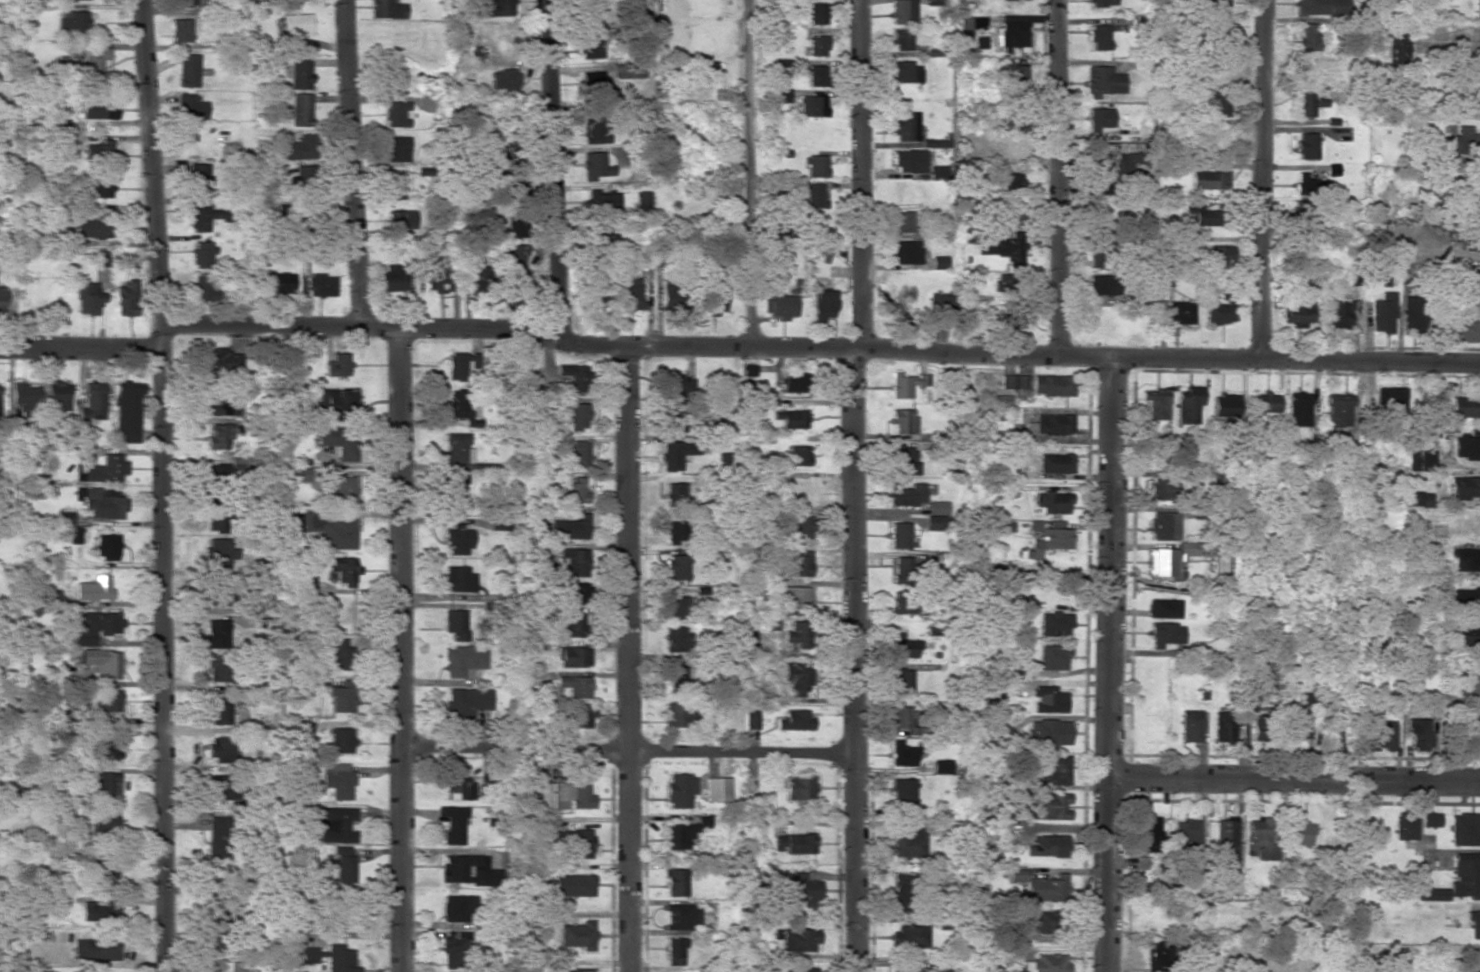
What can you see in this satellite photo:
building: (1004, 0)
building: (184, 2)
building: (1101, 3)
building: (1213, 5)
building: (1320, 6)
building: (493, 8)
building: (386, 9)
building: (588, 9)
building: (1478, 9)
building: (902, 11)
building: (816, 13)
building: (74, 22)
building: (294, 29)
building: (180, 30)
building: (1015, 30)
building: (1218, 31)
building: (1099, 36)
building: (1305, 37)
building: (901, 39)
building: (816, 45)
building: (589, 46)
building: (1395, 48)
building: (90, 63)
building: (188, 70)
building: (708, 71)
building: (298, 72)
building: (905, 72)
building: (815, 75)
building: (1011, 75)
building: (505, 79)
building: (1102, 81)
building: (596, 88)
building: (1470, 94)
building: (780, 95)
building: (1215, 103)
building: (1307, 103)
building: (812, 105)
building: (190, 107)
building: (98, 109)
building: (301, 109)
building: (396, 113)
building: (1098, 118)
building: (1015, 120)
building: (906, 127)
building: (594, 131)
building: (1461, 138)
building: (1477, 141)
building: (1012, 146)
building: (1305, 146)
building: (302, 147)
building: (397, 148)
building: (98, 151)
building: (908, 160)
road: (351, 162)
building: (595, 166)
building: (815, 166)
road: (554, 167)
road: (750, 172)
building: (304, 176)
road: (1054, 176)
building: (1208, 179)
road: (1260, 179)
building: (199, 180)
building: (1010, 182)
building: (1305, 184)
building: (515, 187)
building: (97, 188)
building: (396, 188)
building: (1476, 194)
building: (814, 195)
building: (603, 201)
building: (643, 201)
building: (204, 216)
building: (401, 219)
building: (902, 221)
building: (91, 227)
building: (516, 227)
building: (600, 236)
building: (1471, 243)
building: (999, 249)
building: (905, 252)
building: (202, 254)
building: (1218, 256)
building: (101, 258)
building: (938, 262)
building: (517, 264)
building: (391, 277)
building: (479, 277)
building: (437, 280)
building: (1469, 281)
building: (279, 283)
building: (321, 285)
building: (1102, 285)
building: (204, 288)
building: (630, 294)
building: (597, 296)
building: (2, 297)
building: (87, 297)
building: (124, 299)
building: (716, 301)
building: (940, 303)
building: (823, 304)
building: (781, 305)
building: (1179, 312)
building: (1220, 313)
building: (1298, 313)
building: (1338, 313)
building: (1382, 313)
building: (1412, 315)
building: (1006, 317)
building: (1465, 330)
road: (820, 346)
road: (81, 353)
building: (220, 361)
building: (337, 365)
building: (458, 366)
building: (574, 376)
building: (792, 382)
building: (1014, 382)
building: (905, 383)
building: (677, 385)
building: (1051, 385)
building: (58, 395)
building: (1387, 396)
building: (24, 397)
building: (93, 400)
building: (1155, 402)
building: (1264, 403)
building: (1188, 405)
building: (1224, 405)
building: (222, 406)
building: (331, 406)
building: (1465, 407)
building: (1298, 409)
building: (1338, 410)
building: (127, 412)
building: (576, 415)
building: (675, 418)
building: (792, 418)
building: (903, 420)
building: (1053, 423)
building: (219, 437)
building: (339, 441)
building: (1467, 445)
building: (457, 448)
building: (1152, 451)
building: (579, 453)
building: (673, 454)
building: (799, 456)
building: (1420, 460)
building: (905, 461)
building: (1054, 463)
building: (105, 469)
building: (302, 474)
road: (163, 485)
road: (858, 486)
building: (1465, 487)
building: (574, 489)
building: (1164, 489)
building: (340, 490)
building: (454, 493)
building: (675, 494)
building: (906, 494)
building: (1380, 497)
building: (1414, 499)
building: (1053, 502)
building: (938, 507)
building: (65, 518)
building: (217, 518)
building: (498, 522)
building: (933, 522)
building: (799, 525)
building: (1034, 525)
building: (1163, 525)
building: (568, 528)
building: (675, 532)
building: (338, 534)
building: (74, 535)
building: (899, 535)
building: (1050, 541)
building: (457, 542)
building: (106, 546)
building: (218, 554)
building: (1465, 560)
building: (573, 561)
building: (792, 564)
building: (675, 567)
building: (343, 569)
building: (901, 569)
building: (458, 579)
building: (308, 584)
building: (93, 589)
building: (575, 593)
building: (45, 594)
building: (219, 594)
building: (793, 597)
building: (1465, 598)
building: (904, 601)
building: (674, 607)
building: (1163, 608)
building: (455, 623)
building: (1055, 624)
building: (91, 625)
building: (570, 625)
building: (795, 633)
building: (216, 634)
building: (1164, 634)
building: (1468, 634)
building: (673, 638)
building: (901, 646)
road: (400, 651)
building: (340, 655)
building: (572, 657)
building: (1053, 657)
road: (630, 660)
building: (100, 663)
road: (1108, 663)
building: (215, 668)
building: (676, 676)
building: (798, 679)
building: (901, 681)
building: (1468, 684)
building: (573, 685)
building: (341, 698)
building: (1048, 699)
building: (105, 701)
building: (466, 701)
building: (218, 709)
building: (676, 714)
building: (578, 715)
building: (902, 716)
building: (751, 719)
building: (794, 720)
building: (304, 724)
building: (1223, 726)
building: (1297, 726)
building: (1190, 727)
building: (1259, 728)
building: (1475, 729)
building: (1049, 732)
building: (1379, 735)
building: (1417, 735)
building: (341, 740)
building: (219, 749)
building: (105, 750)
road: (626, 754)
building: (901, 754)
building: (941, 766)
building: (1056, 771)
building: (338, 780)
road: (1293, 784)
building: (104, 787)
building: (219, 787)
building: (796, 788)
building: (459, 789)
building: (716, 789)
building: (679, 790)
building: (902, 792)
building: (570, 795)
building: (530, 801)
building: (1051, 806)
building: (1430, 819)
building: (452, 823)
building: (337, 824)
building: (103, 825)
building: (1405, 827)
building: (1465, 829)
building: (683, 833)
building: (1148, 833)
building: (1186, 833)
building: (1301, 833)
building: (1226, 835)
building: (216, 836)
building: (1259, 837)
building: (907, 842)
building: (580, 843)
building: (794, 843)
building: (1046, 846)
building: (345, 869)
building: (465, 869)
building: (102, 873)
building: (675, 882)
building: (1456, 882)
building: (572, 885)
building: (1043, 889)
building: (901, 891)
building: (457, 908)
building: (97, 912)
building: (681, 917)
building: (1044, 922)
building: (1474, 925)
building: (218, 929)
building: (577, 935)
building: (909, 936)
building: (797, 939)
building: (453, 947)
building: (96, 949)
building: (673, 950)
building: (308, 954)
building: (1158, 956)
building: (341, 959)
building: (1046, 963)
building: (220, 966)
building: (797, 969)
building: (906, 969)
building: (578, 971)

